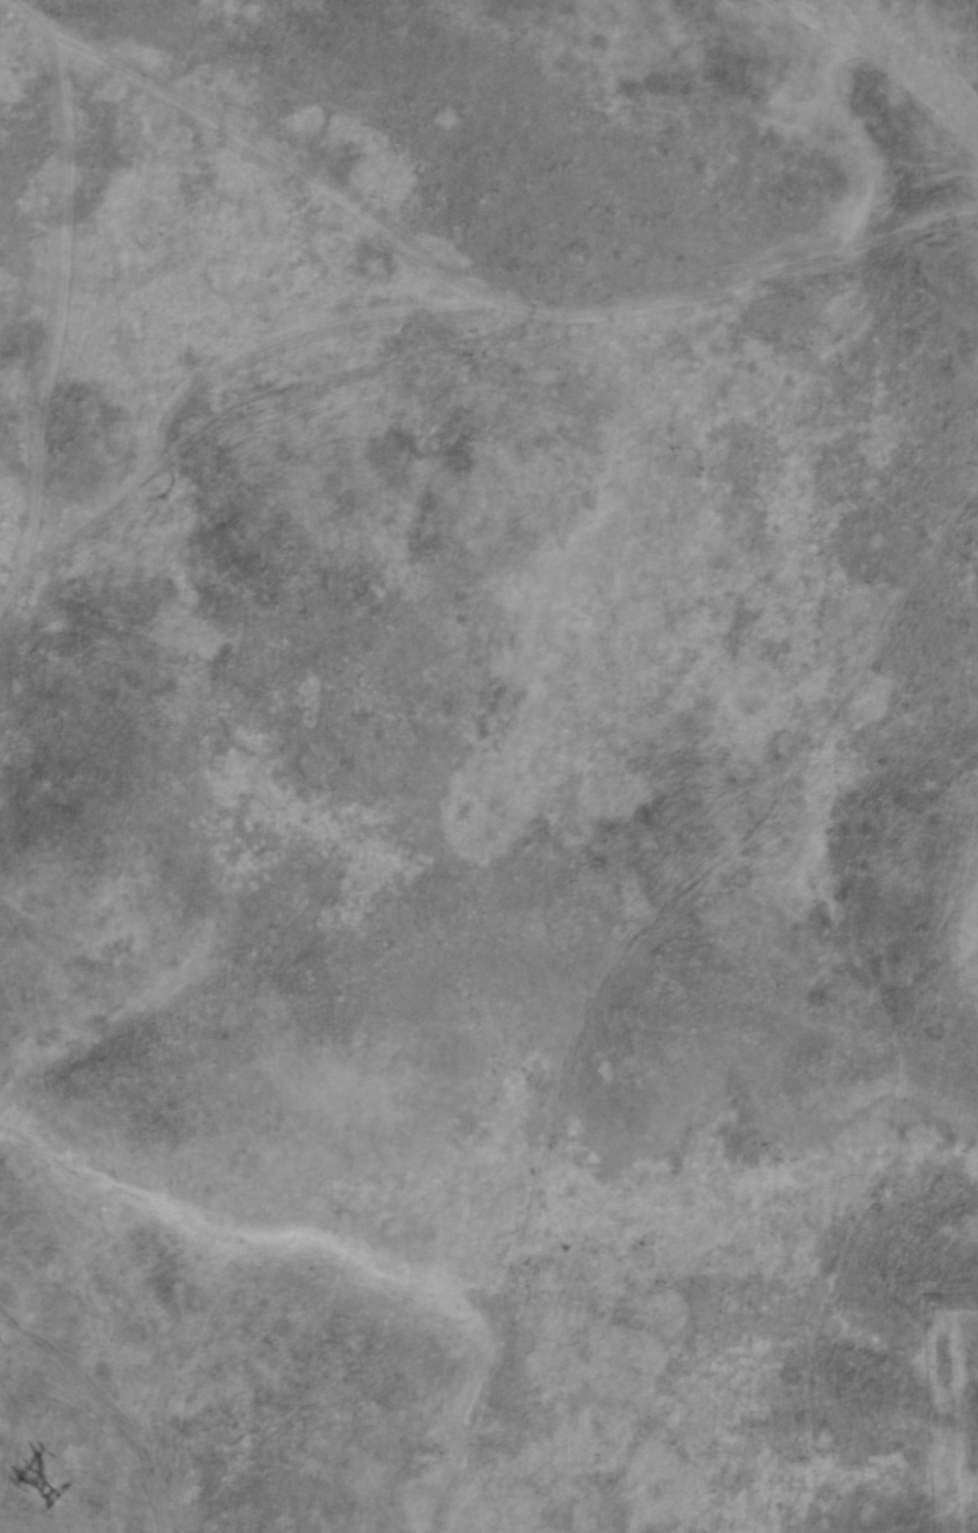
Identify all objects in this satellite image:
power tower: (55, 1501)

